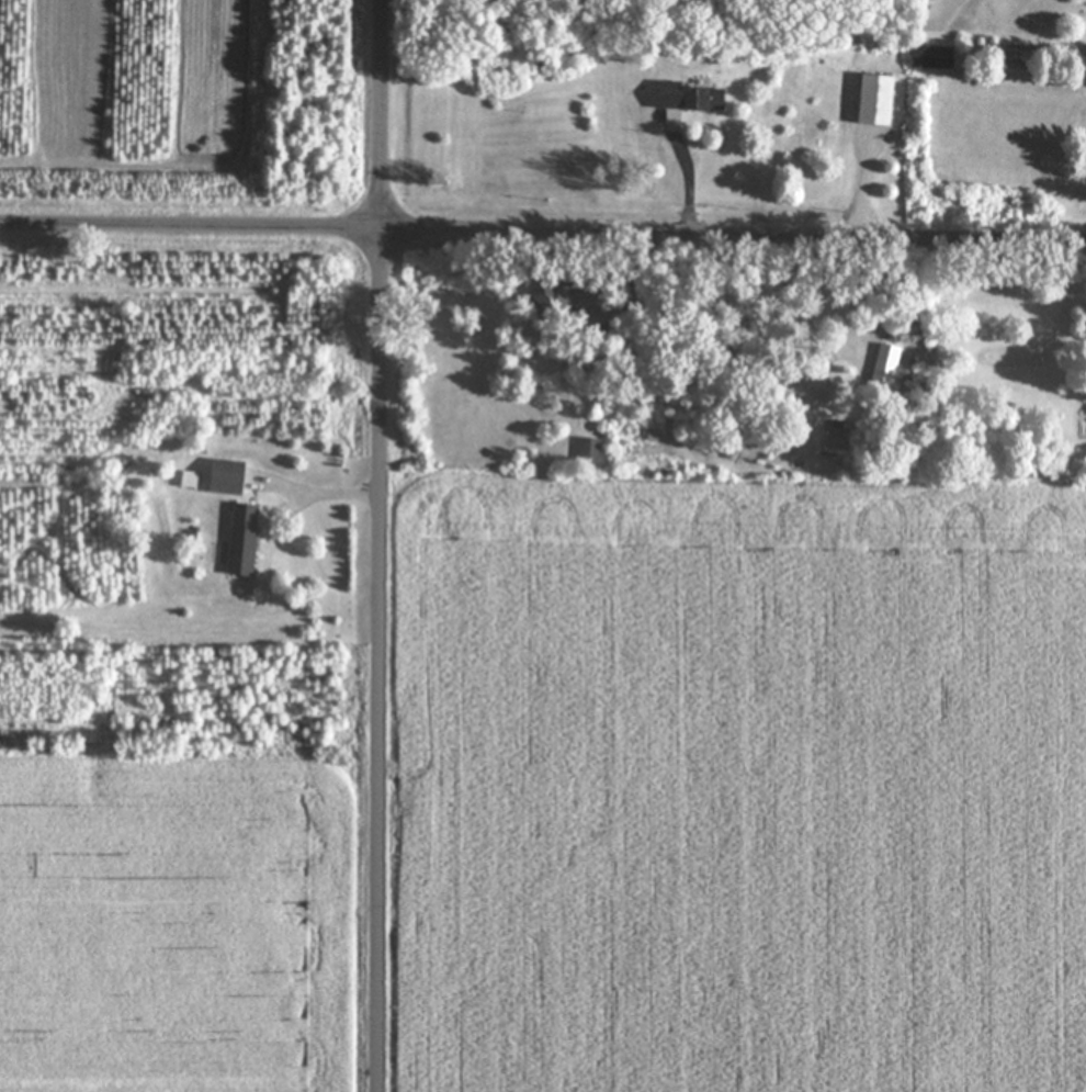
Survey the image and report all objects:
building: (939, 57)
building: (671, 94)
building: (706, 99)
building: (878, 99)
road: (380, 113)
road: (693, 185)
road: (868, 192)
road: (190, 225)
road: (732, 235)
building: (565, 299)
building: (886, 365)
building: (815, 387)
building: (590, 449)
building: (229, 477)
road: (340, 494)
building: (245, 539)
road: (381, 658)

